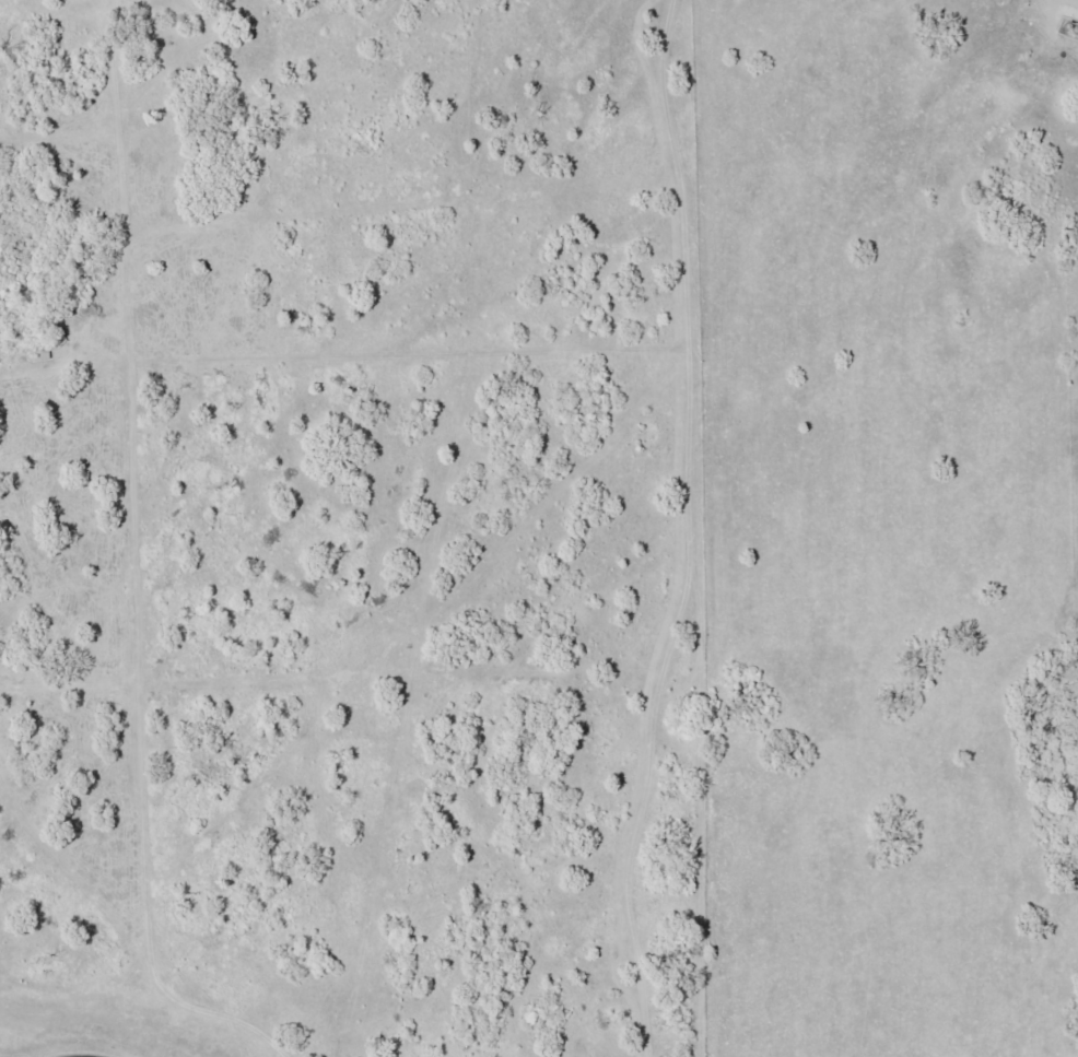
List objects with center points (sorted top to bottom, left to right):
road: (1059, 1018)

